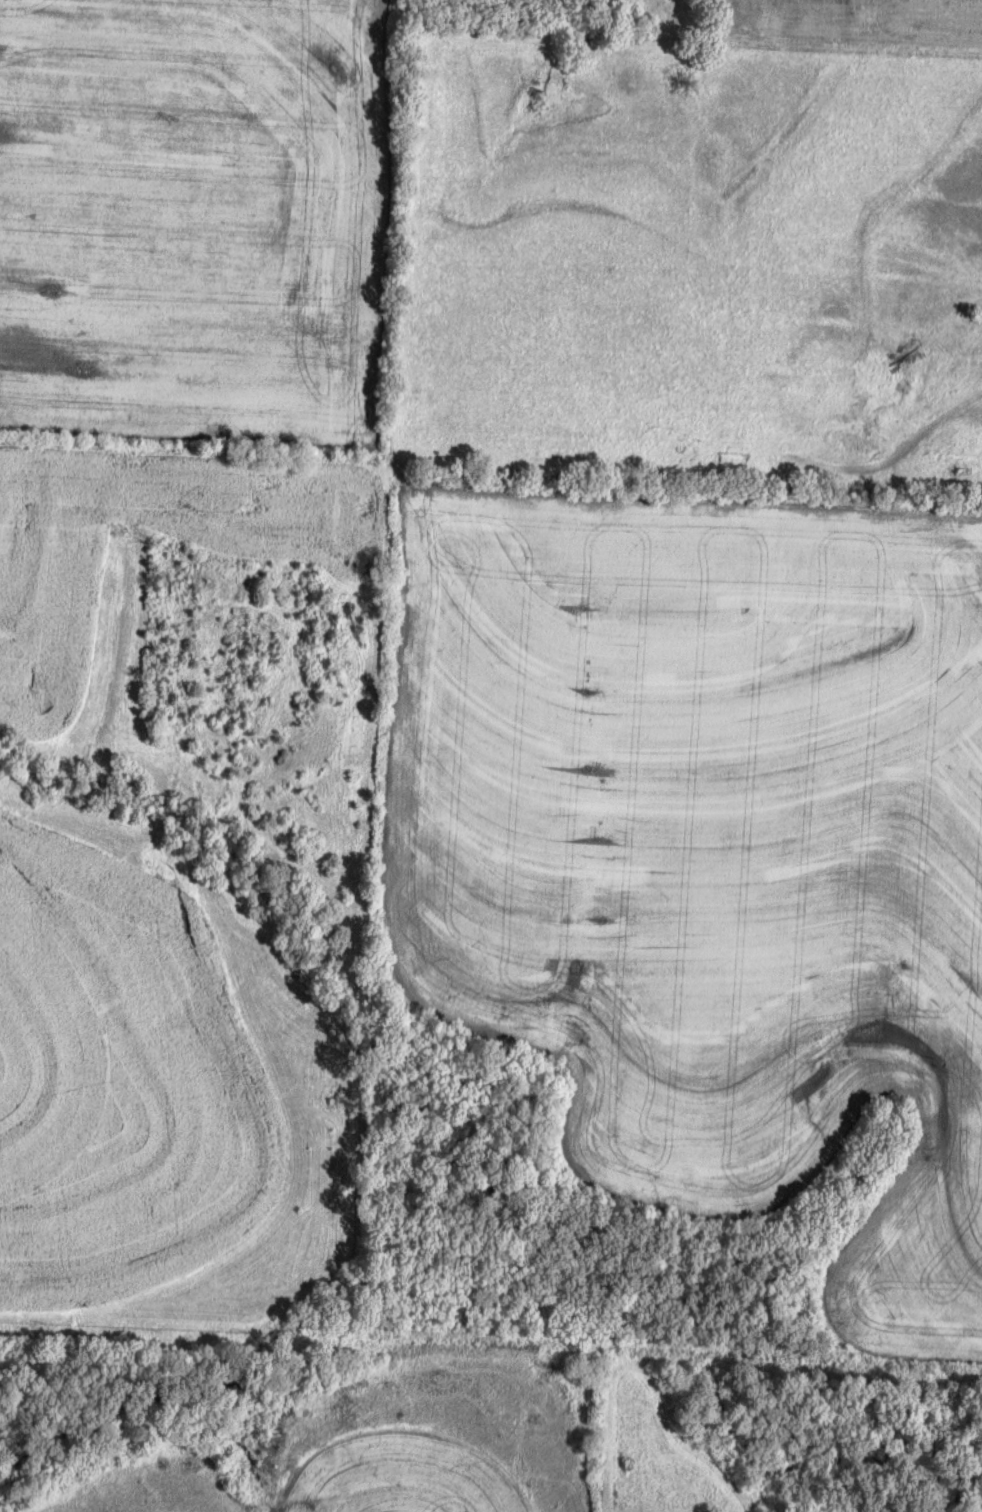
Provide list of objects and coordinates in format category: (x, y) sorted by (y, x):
road: (391, 1328)

